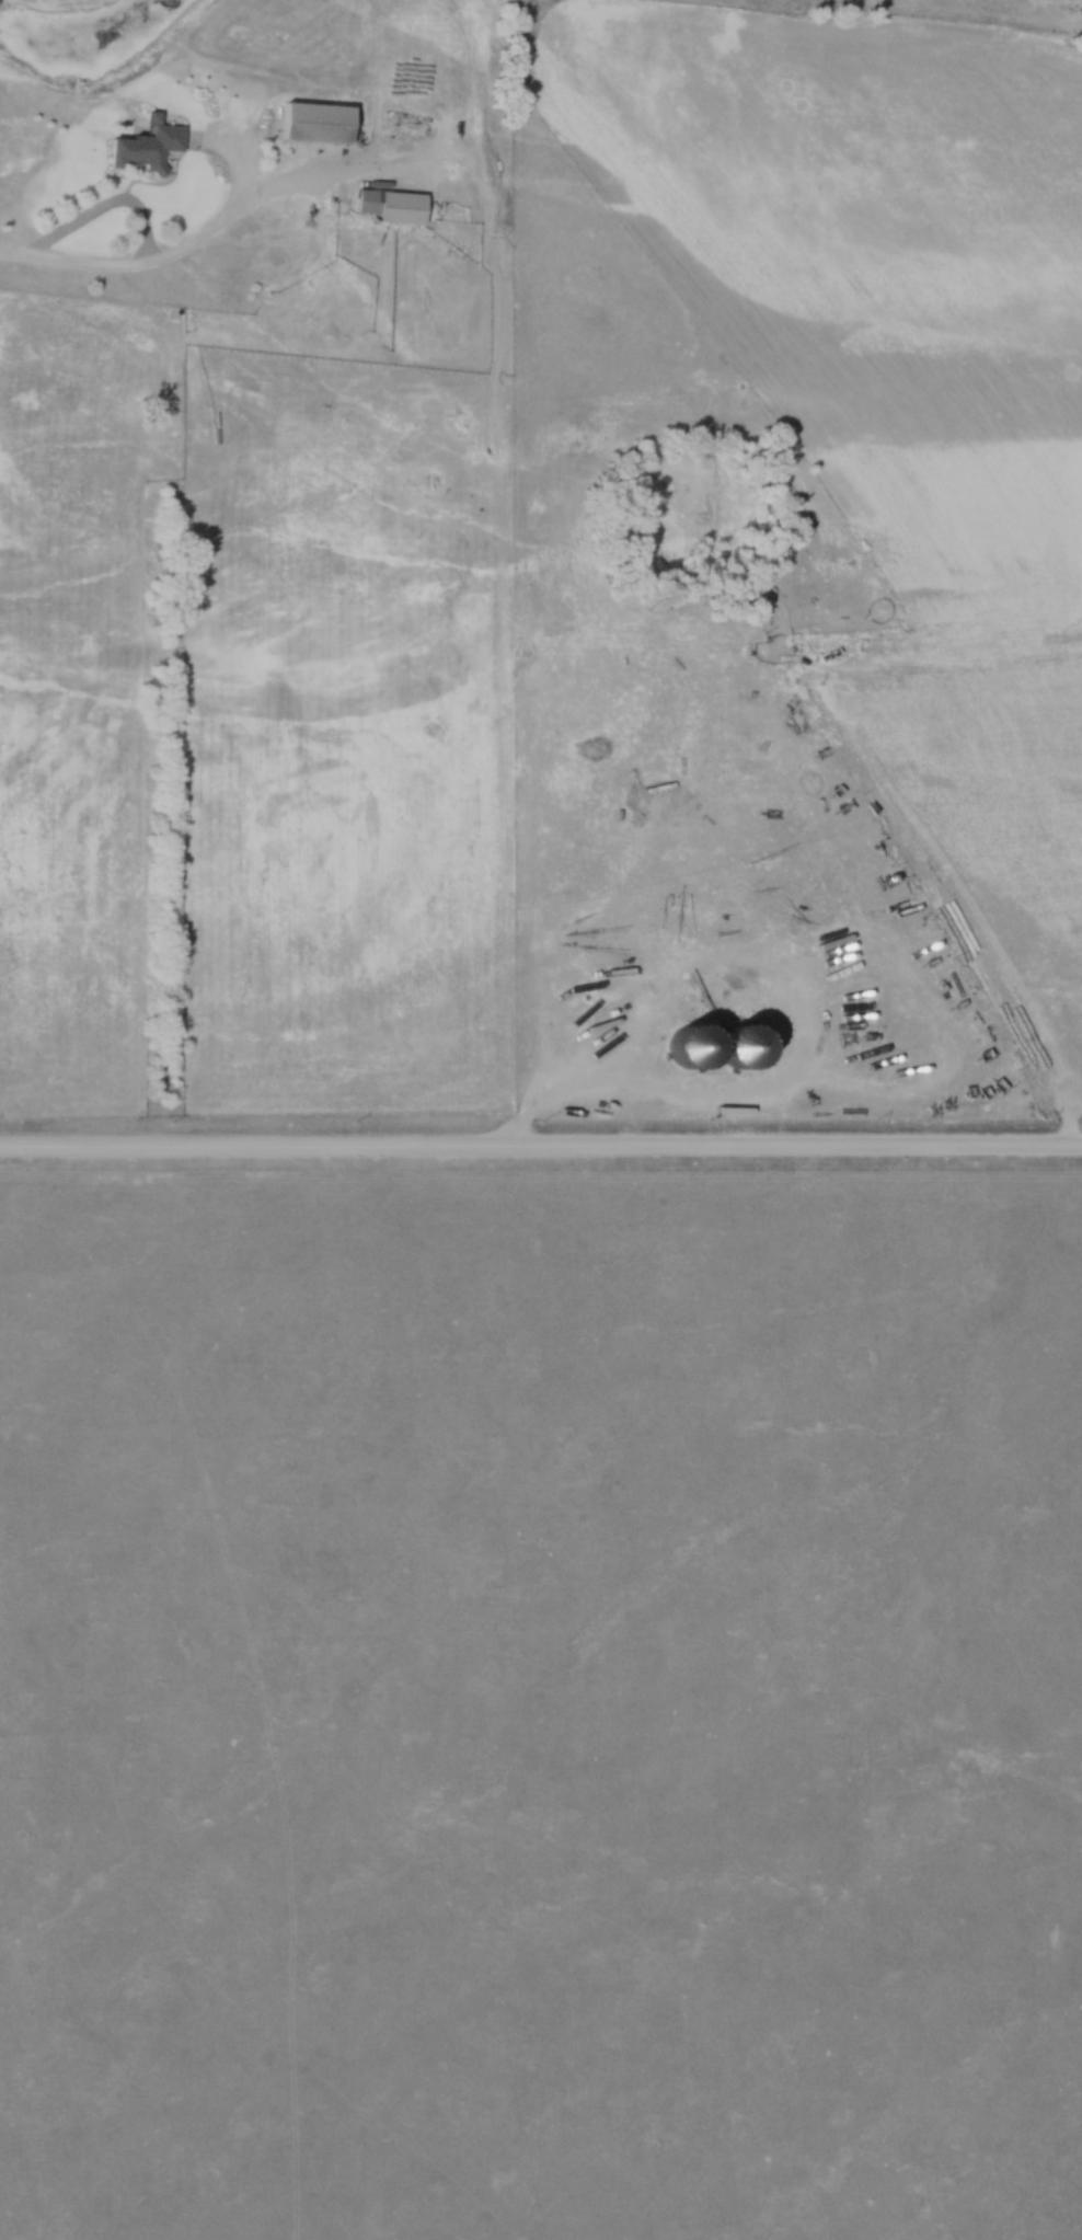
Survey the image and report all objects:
building: (315, 124)
building: (146, 150)
building: (391, 207)
road: (164, 259)
road: (540, 1151)

